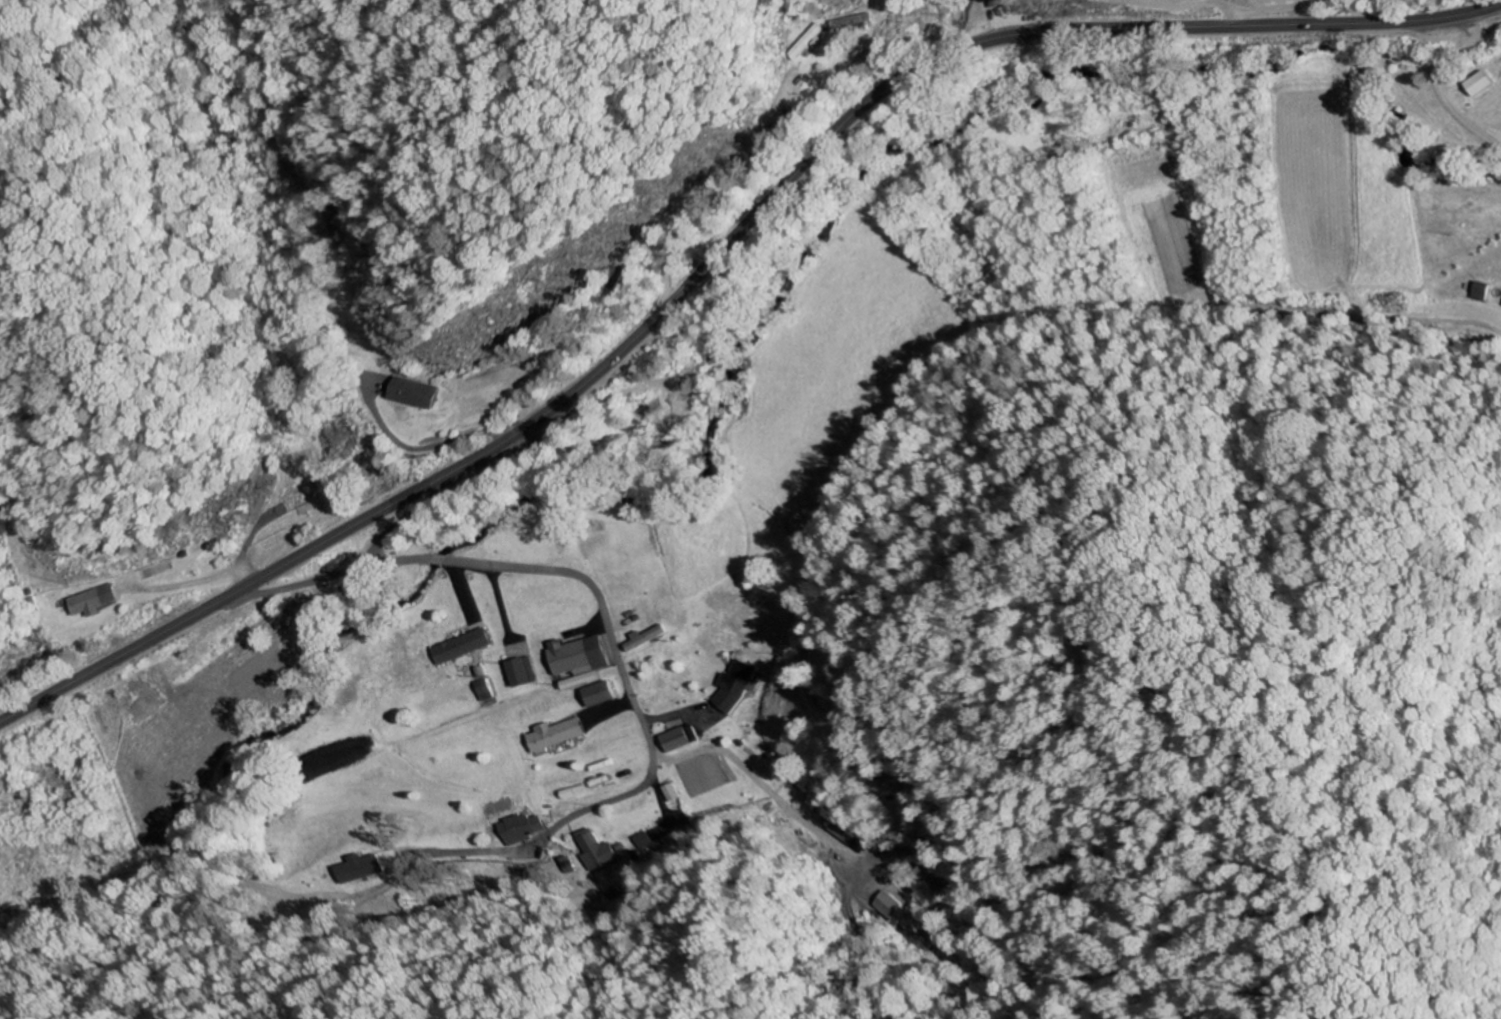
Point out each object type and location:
road: (1186, 7)
road: (1299, 12)
building: (857, 21)
building: (812, 42)
road: (1438, 80)
building: (777, 139)
road: (717, 252)
building: (1480, 291)
building: (421, 392)
road: (556, 570)
building: (95, 600)
building: (646, 638)
building: (463, 646)
building: (580, 660)
building: (523, 671)
building: (738, 685)
building: (485, 690)
building: (601, 694)
building: (557, 734)
building: (680, 738)
building: (574, 792)
building: (667, 792)
building: (521, 828)
building: (593, 850)
building: (355, 868)
building: (882, 905)

